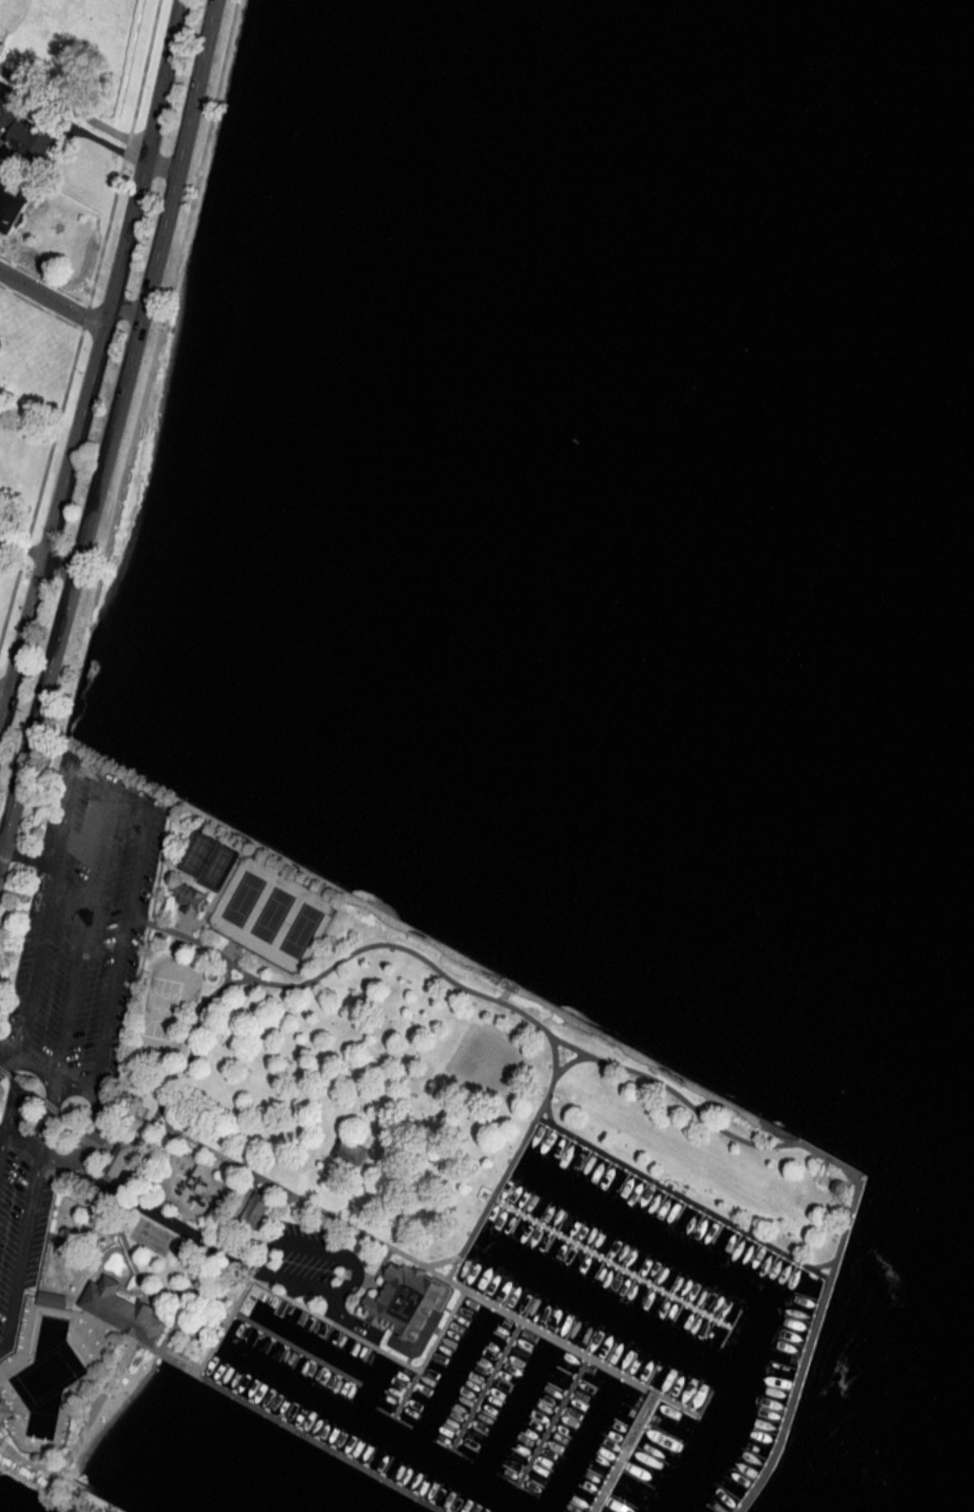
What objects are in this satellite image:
building: (0, 0)
building: (1, 44)
building: (27, 139)
road: (159, 163)
building: (10, 206)
road: (113, 279)
road: (51, 297)
road: (125, 299)
road: (108, 429)
road: (20, 548)
road: (57, 563)
road: (20, 634)
road: (2, 695)
road: (95, 778)
road: (64, 818)
road: (1, 850)
road: (28, 858)
building: (191, 899)
road: (83, 935)
road: (35, 962)
parking lot: (67, 993)
road: (5, 1051)
road: (5, 1062)
road: (33, 1066)
park: (281, 1122)
building: (351, 1152)
building: (118, 1160)
building: (839, 1187)
building: (255, 1209)
building: (837, 1254)
pier: (613, 1265)
building: (51, 1300)
building: (408, 1307)
building: (121, 1310)
pier: (582, 1352)
building: (5, 1408)
pier: (311, 1440)

